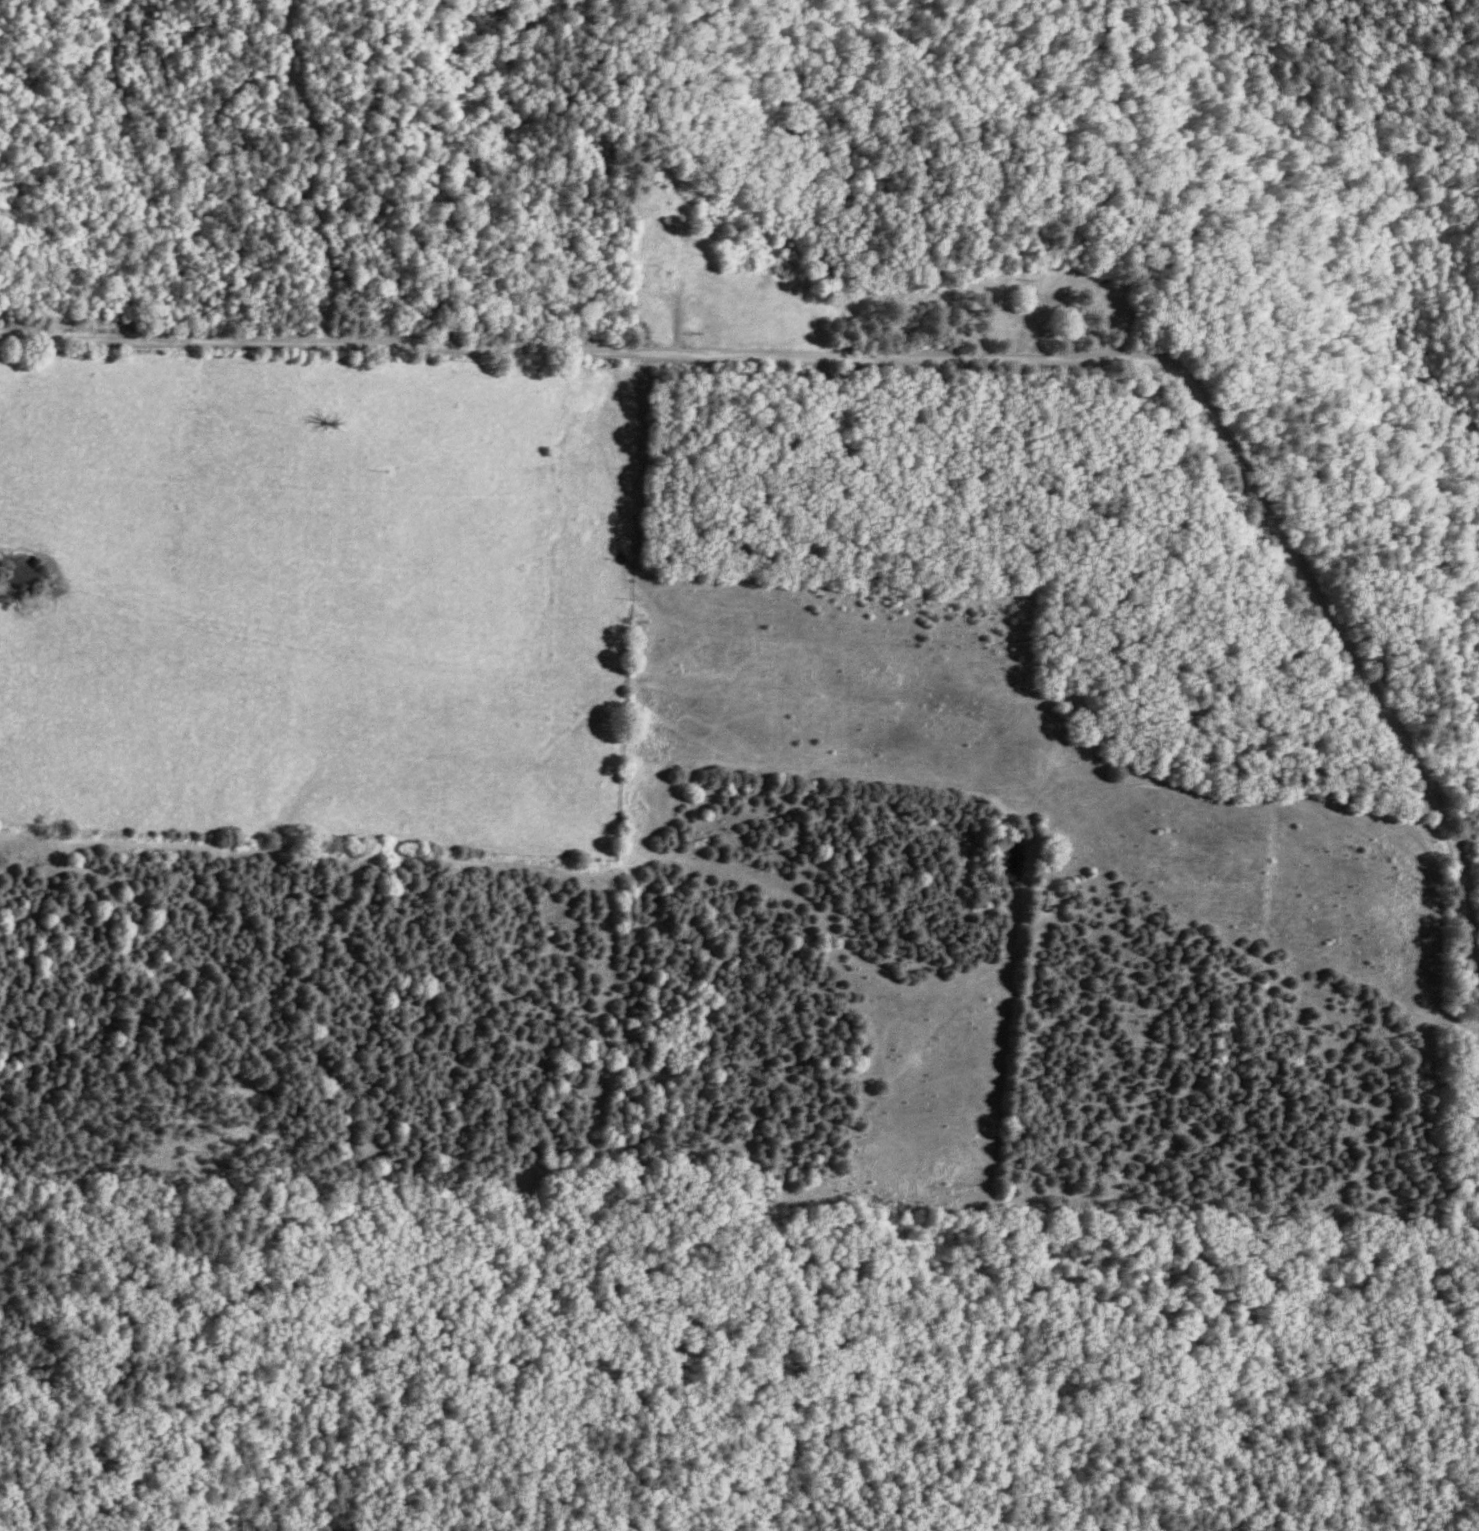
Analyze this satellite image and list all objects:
road: (669, 316)
road: (943, 357)

